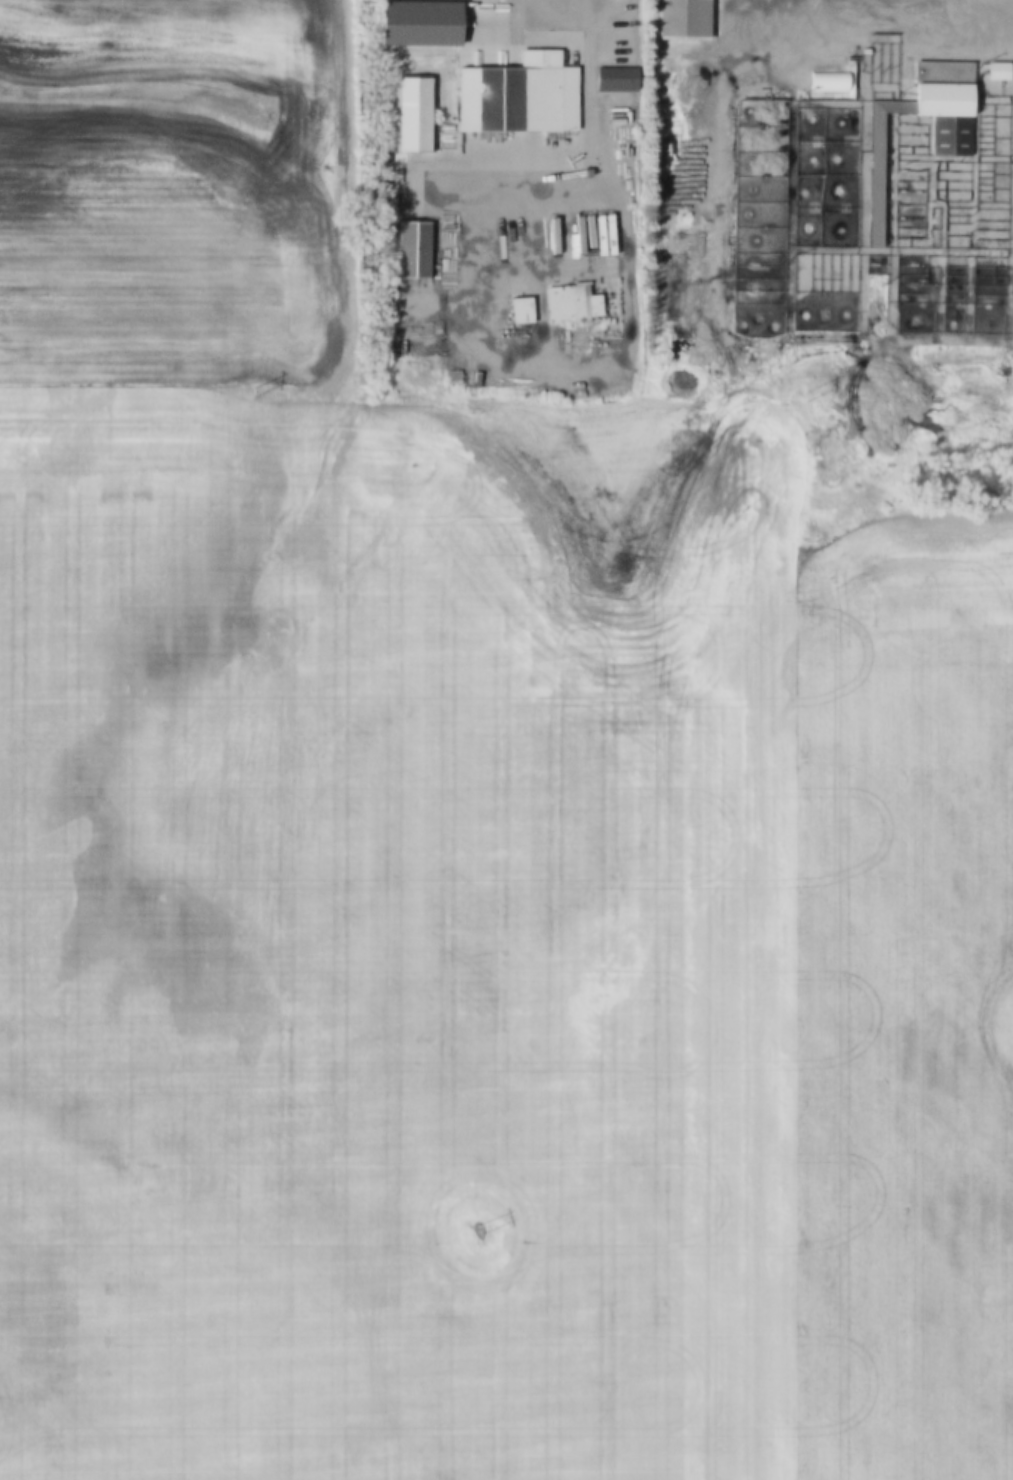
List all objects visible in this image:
road: (557, 9)
building: (680, 19)
building: (415, 24)
building: (996, 65)
building: (1000, 73)
building: (825, 77)
building: (615, 78)
building: (515, 96)
building: (950, 99)
building: (415, 114)
building: (409, 243)
road: (722, 297)
building: (574, 305)
building: (580, 344)

